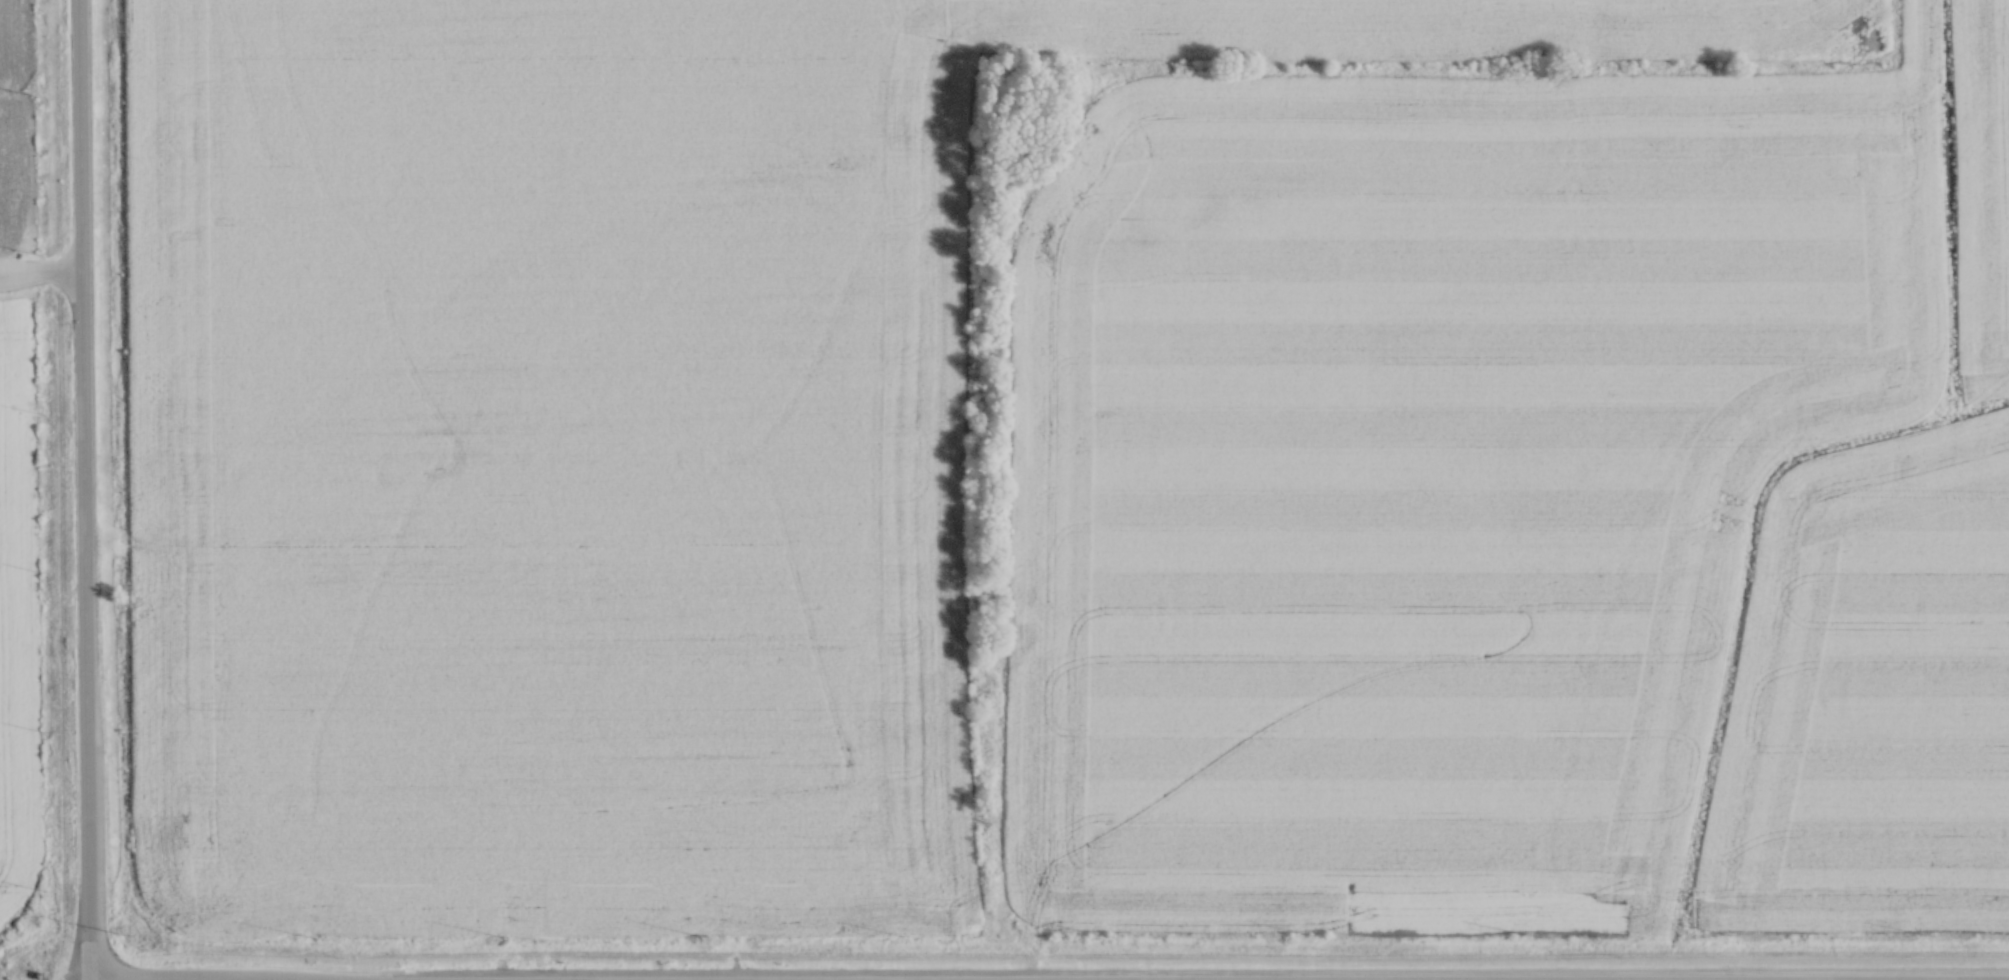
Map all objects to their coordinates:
road: (40, 271)
road: (82, 490)
power tower: (119, 935)
power tower: (301, 936)
power tower: (1102, 936)
power tower: (1308, 936)
power tower: (1522, 936)
power tower: (1727, 936)
power tower: (1922, 936)
power tower: (496, 937)
power tower: (896, 937)
power tower: (695, 938)

